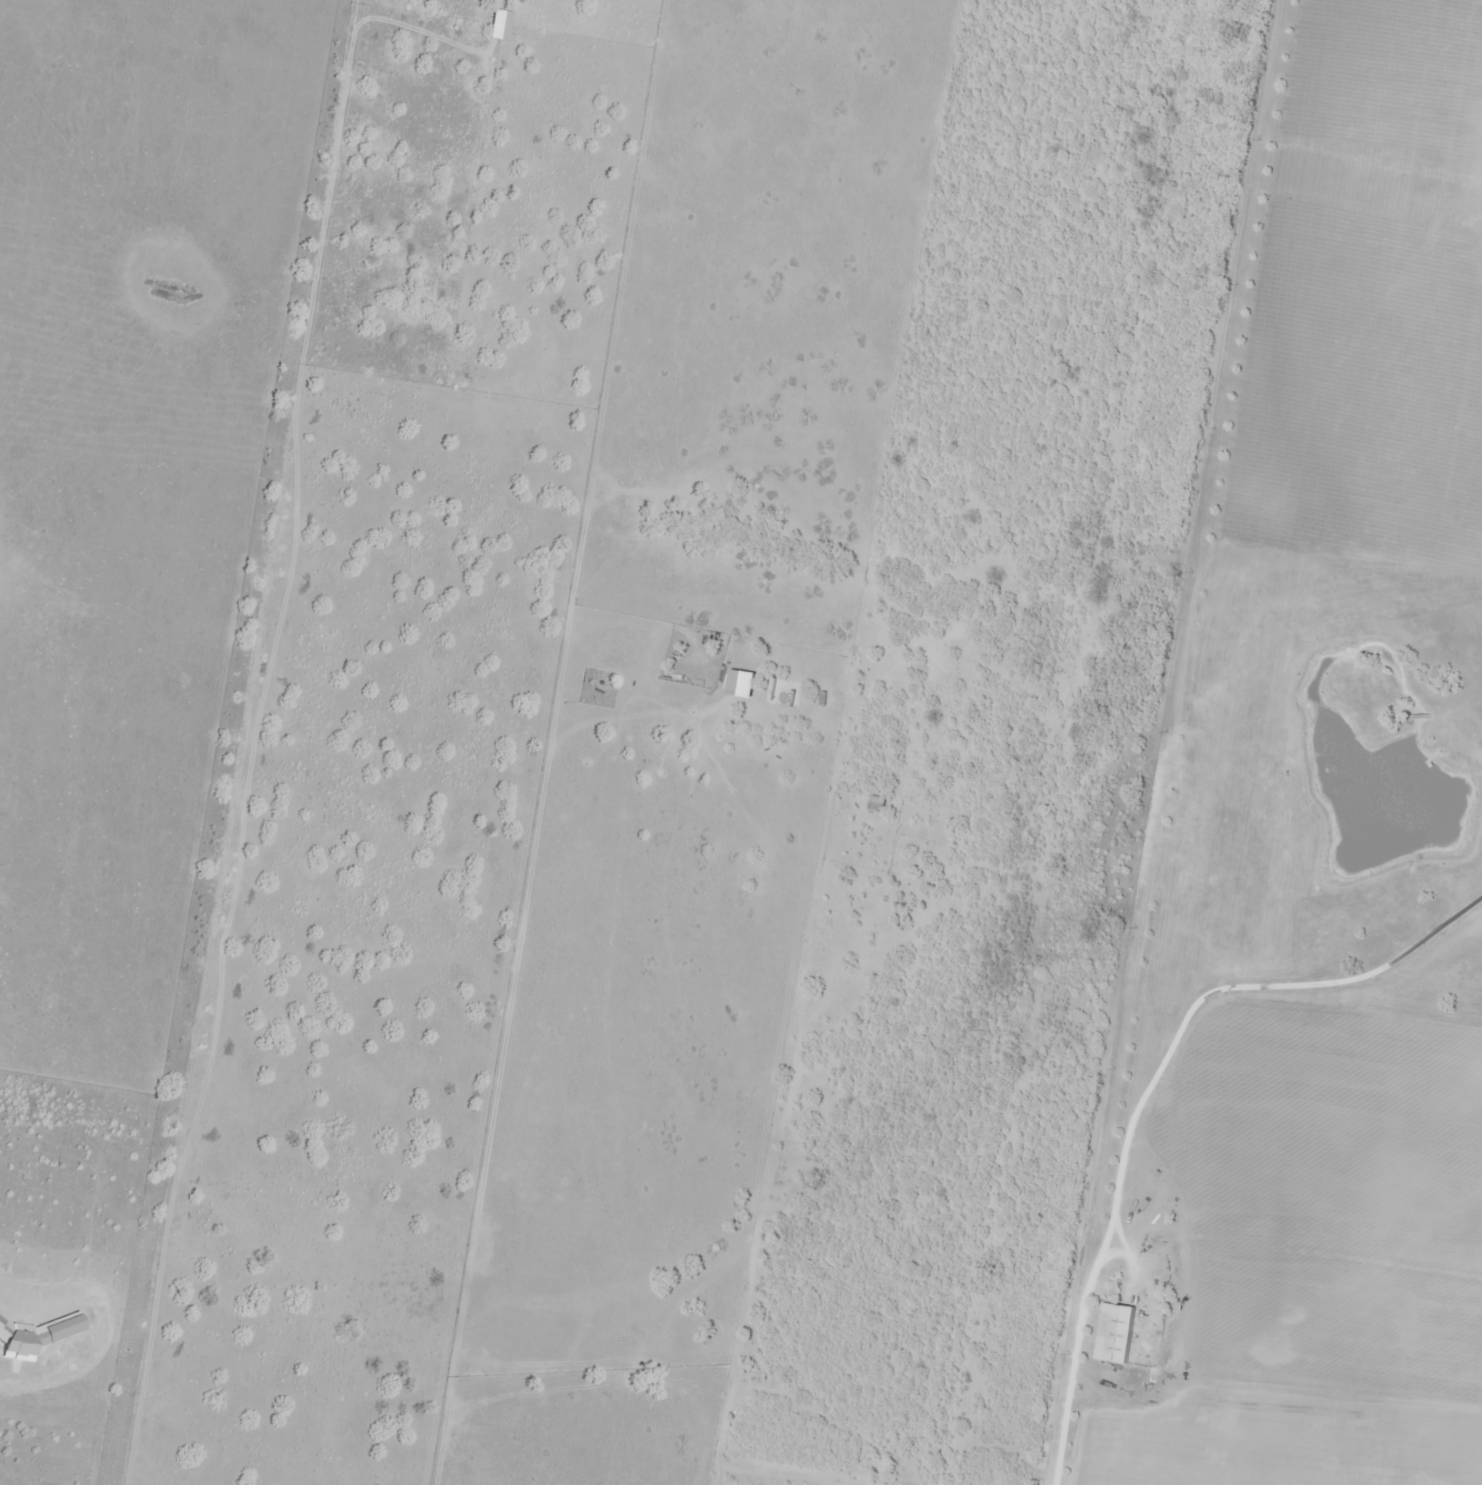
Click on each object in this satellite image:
building: (1116, 1331)

